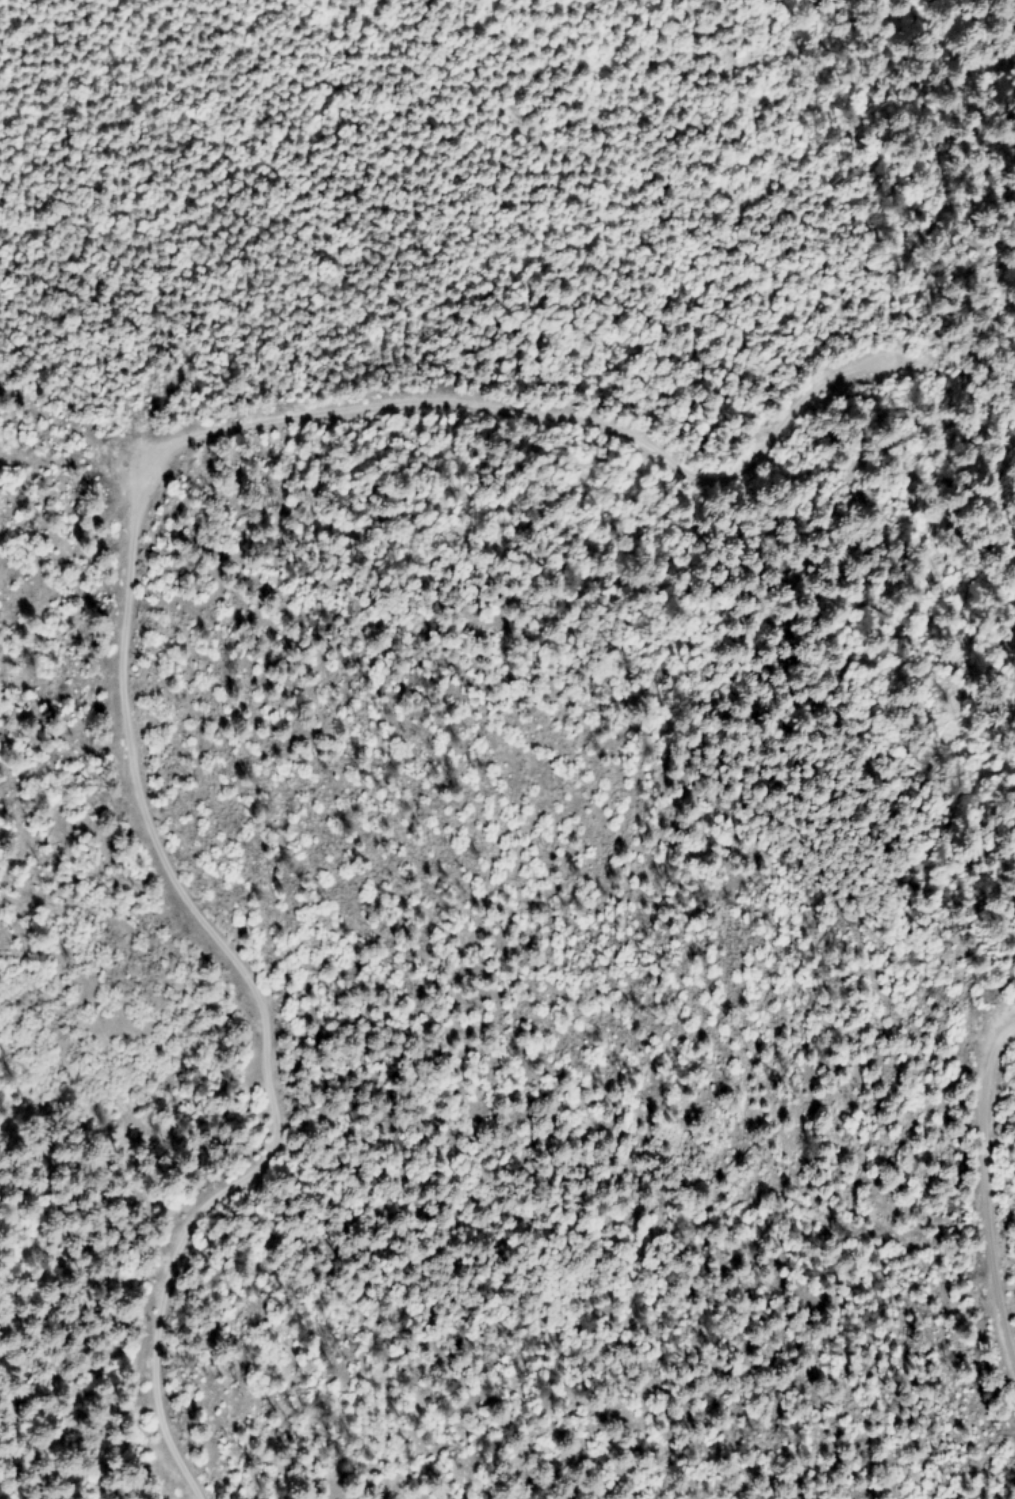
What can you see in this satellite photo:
road: (986, 1166)

